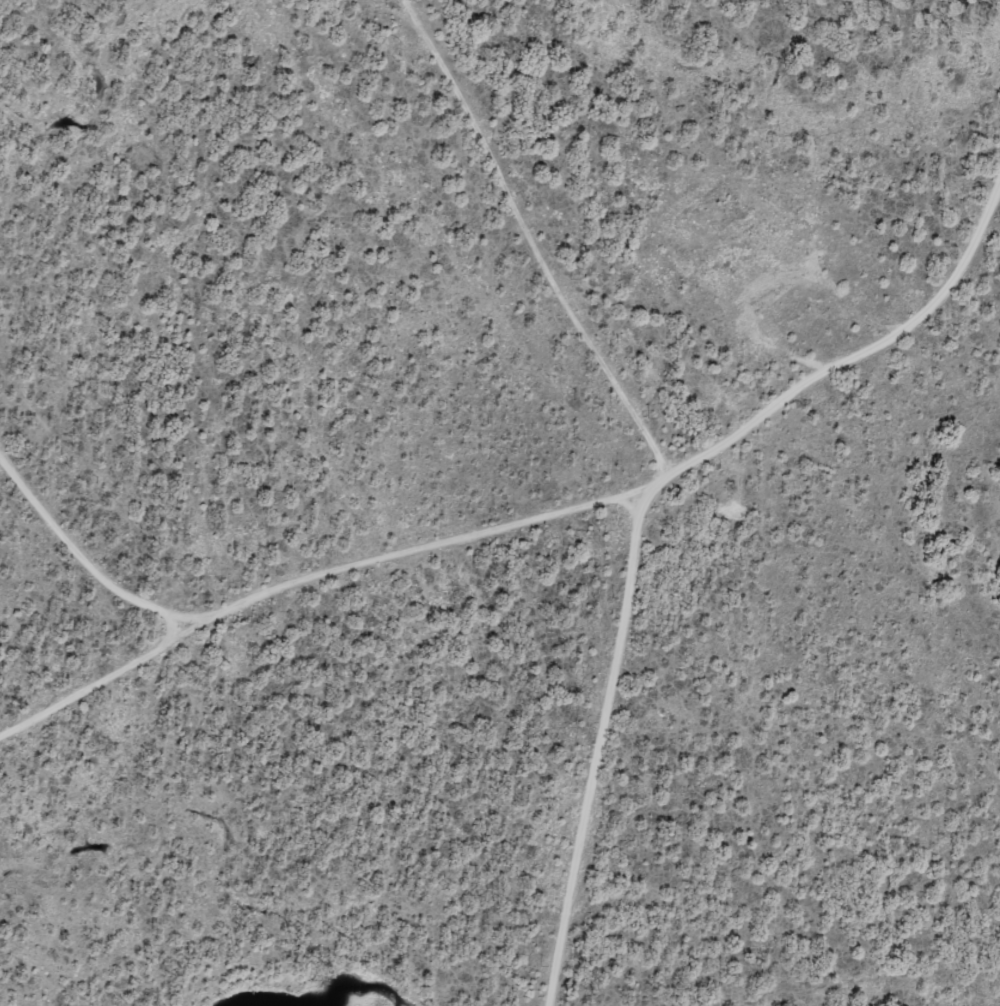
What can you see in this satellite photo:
road: (669, 555)
road: (324, 592)

